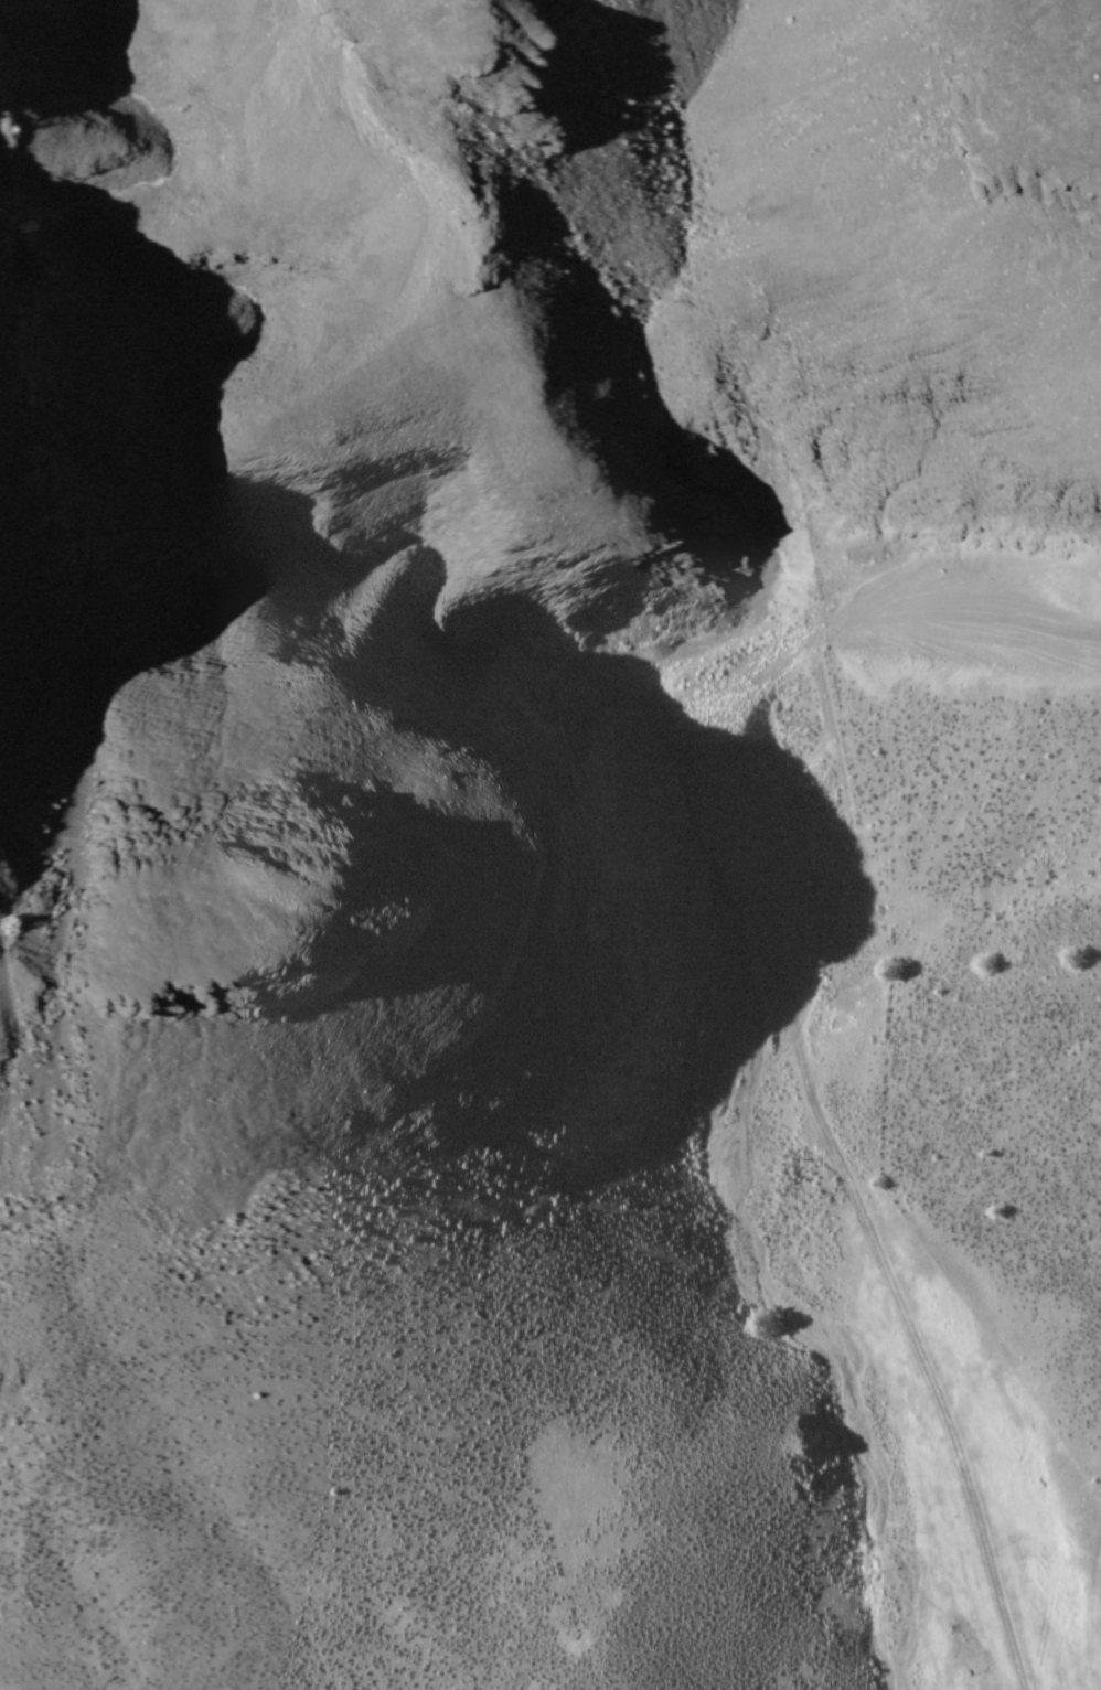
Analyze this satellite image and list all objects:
road: (1094, 1617)

